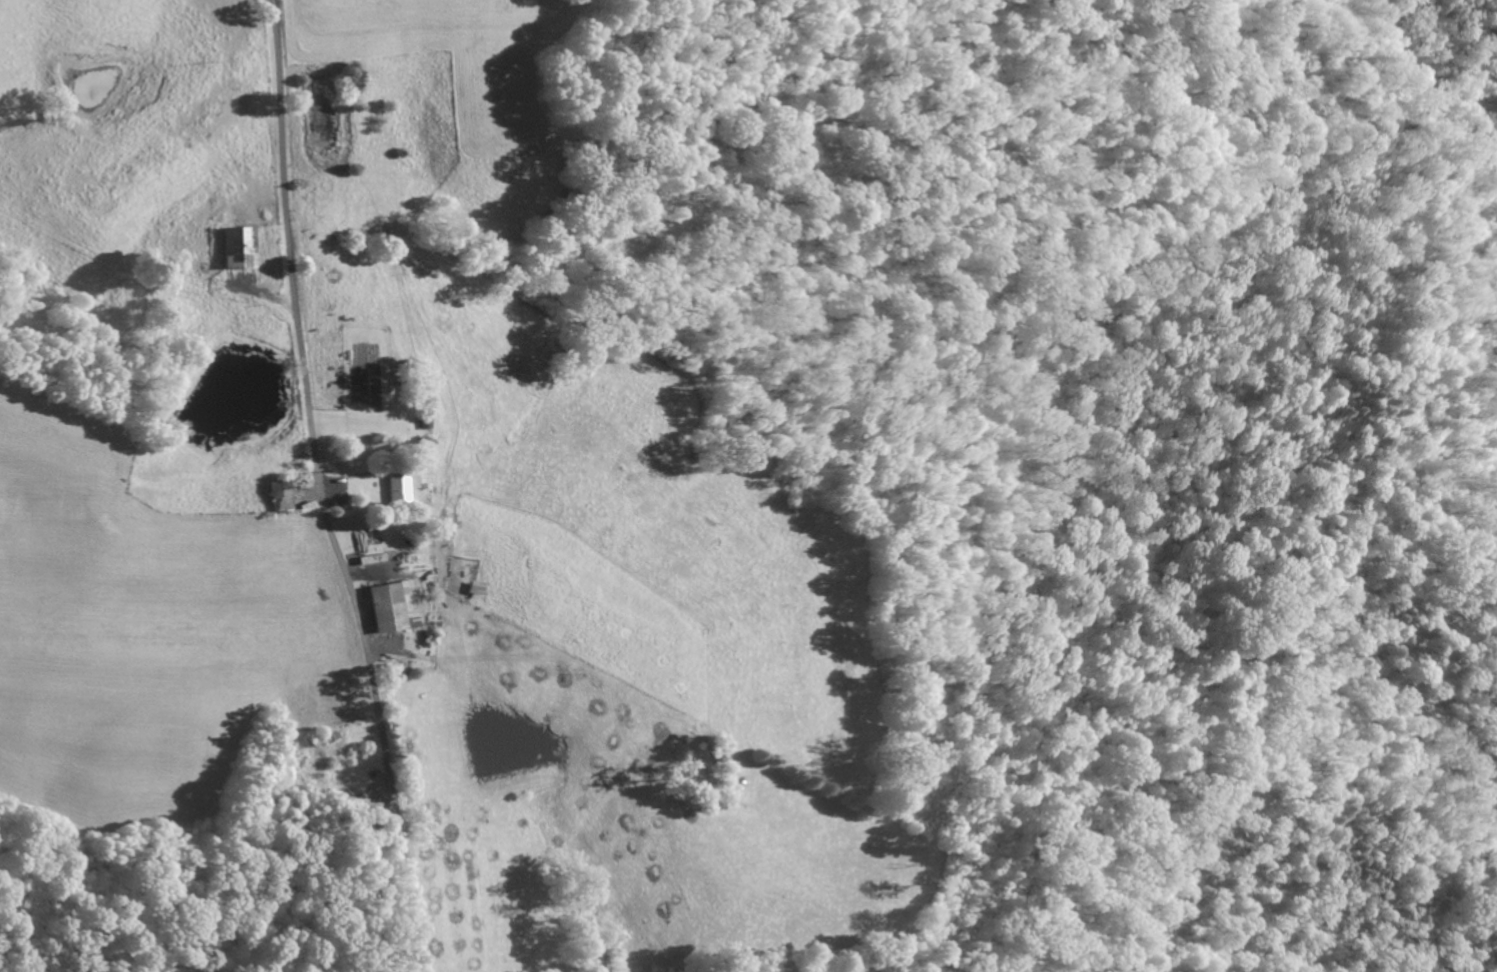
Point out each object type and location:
building: (237, 247)
building: (396, 487)
road: (317, 489)
building: (276, 490)

